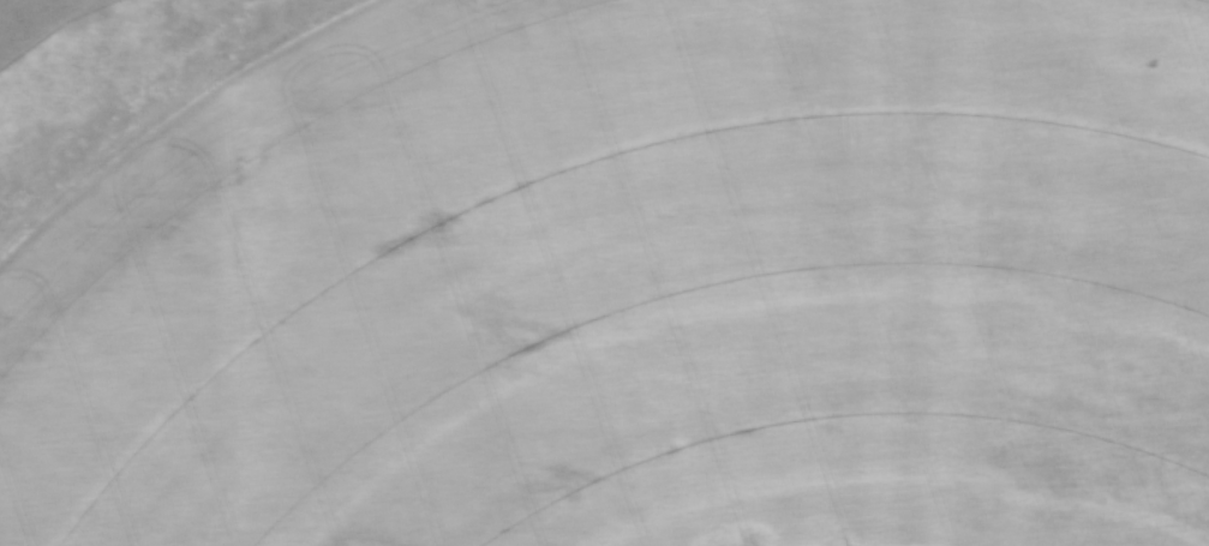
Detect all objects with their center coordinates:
crop: (639, 286)

